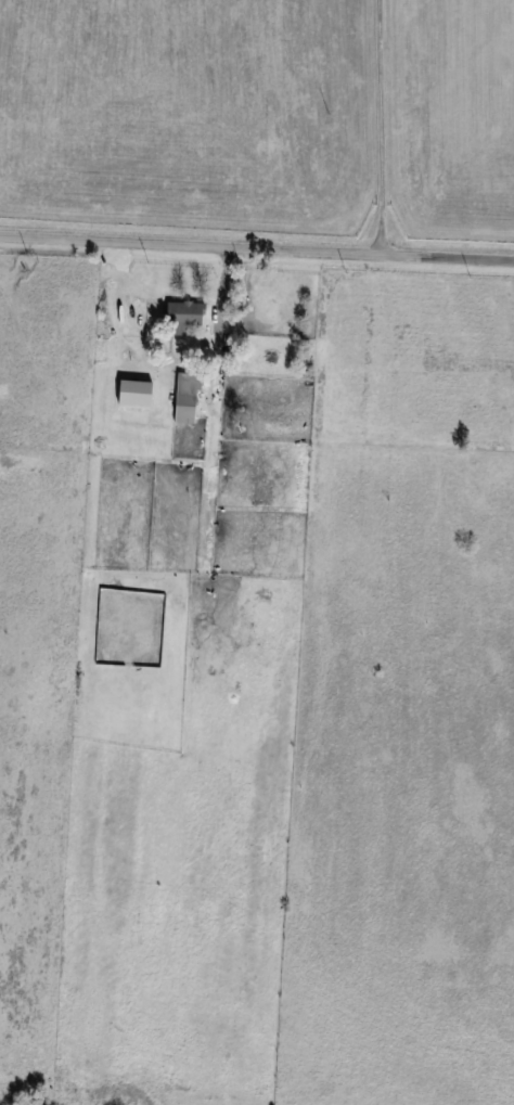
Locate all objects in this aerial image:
road: (380, 127)
road: (257, 247)
building: (187, 316)
building: (103, 355)
building: (189, 397)

